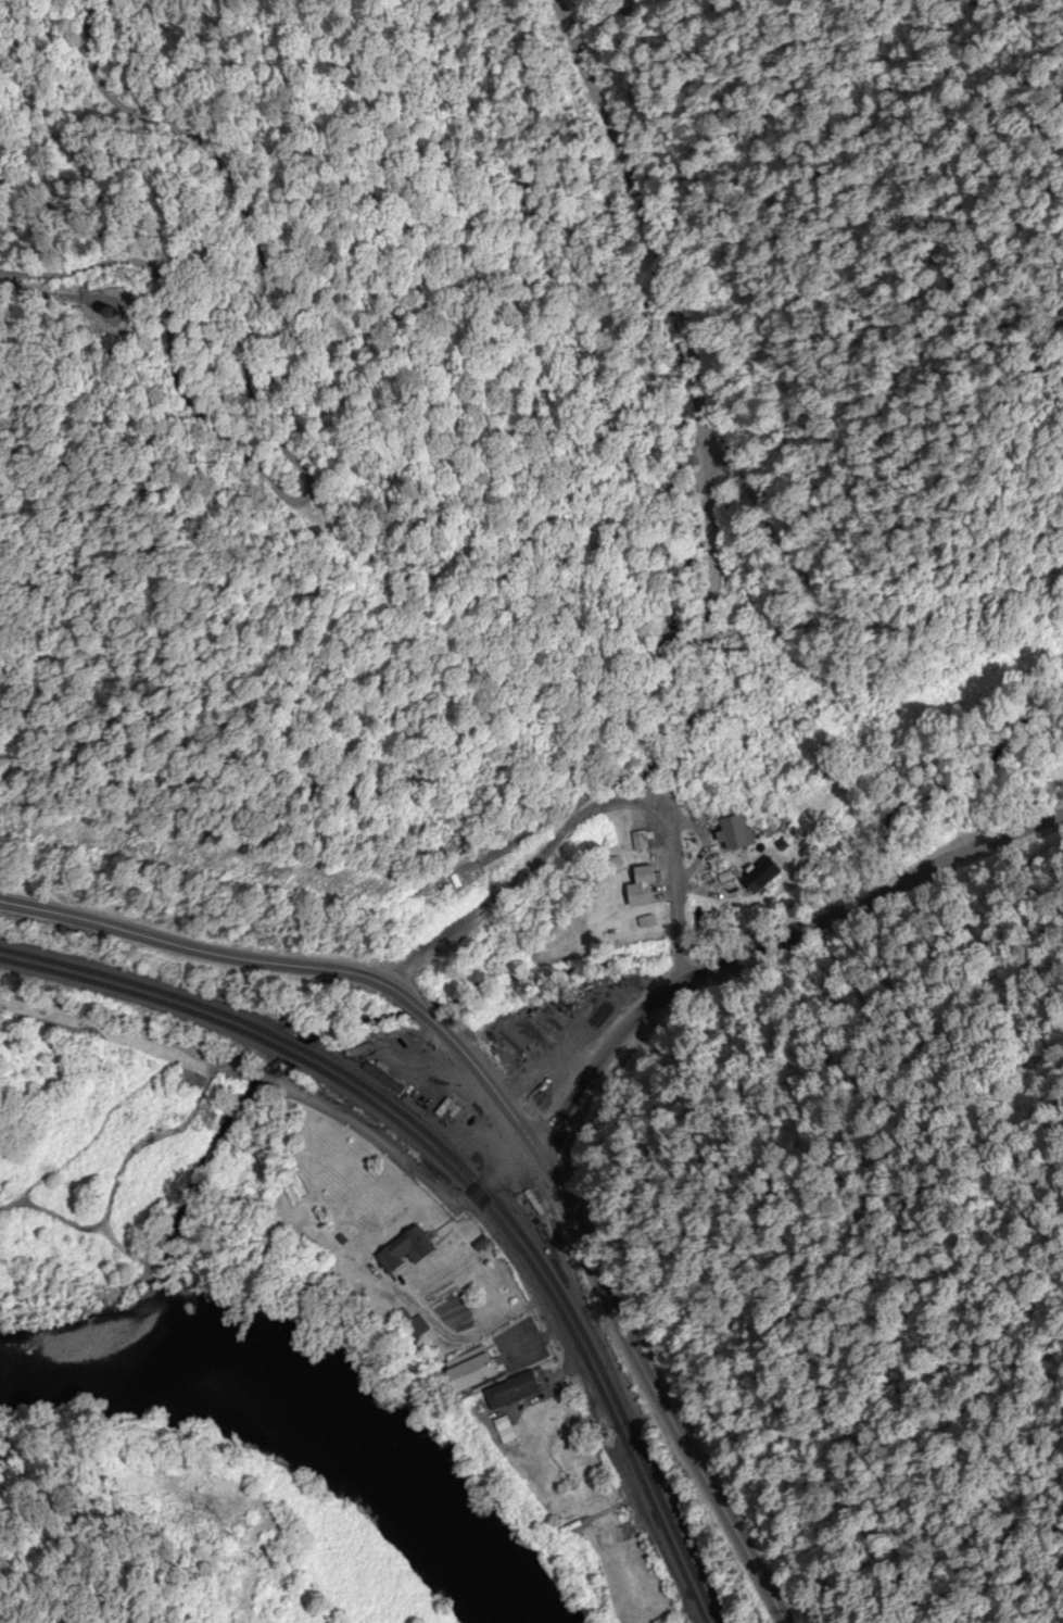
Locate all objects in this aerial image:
building: (803, 780)
building: (709, 784)
building: (737, 834)
building: (640, 842)
building: (761, 877)
road: (674, 884)
building: (643, 888)
railway: (316, 1059)
road: (508, 1116)
railway: (455, 1178)
building: (407, 1251)
building: (415, 1326)
building: (474, 1375)
building: (516, 1392)
river: (326, 1424)
building: (574, 1501)
building: (307, 1622)

